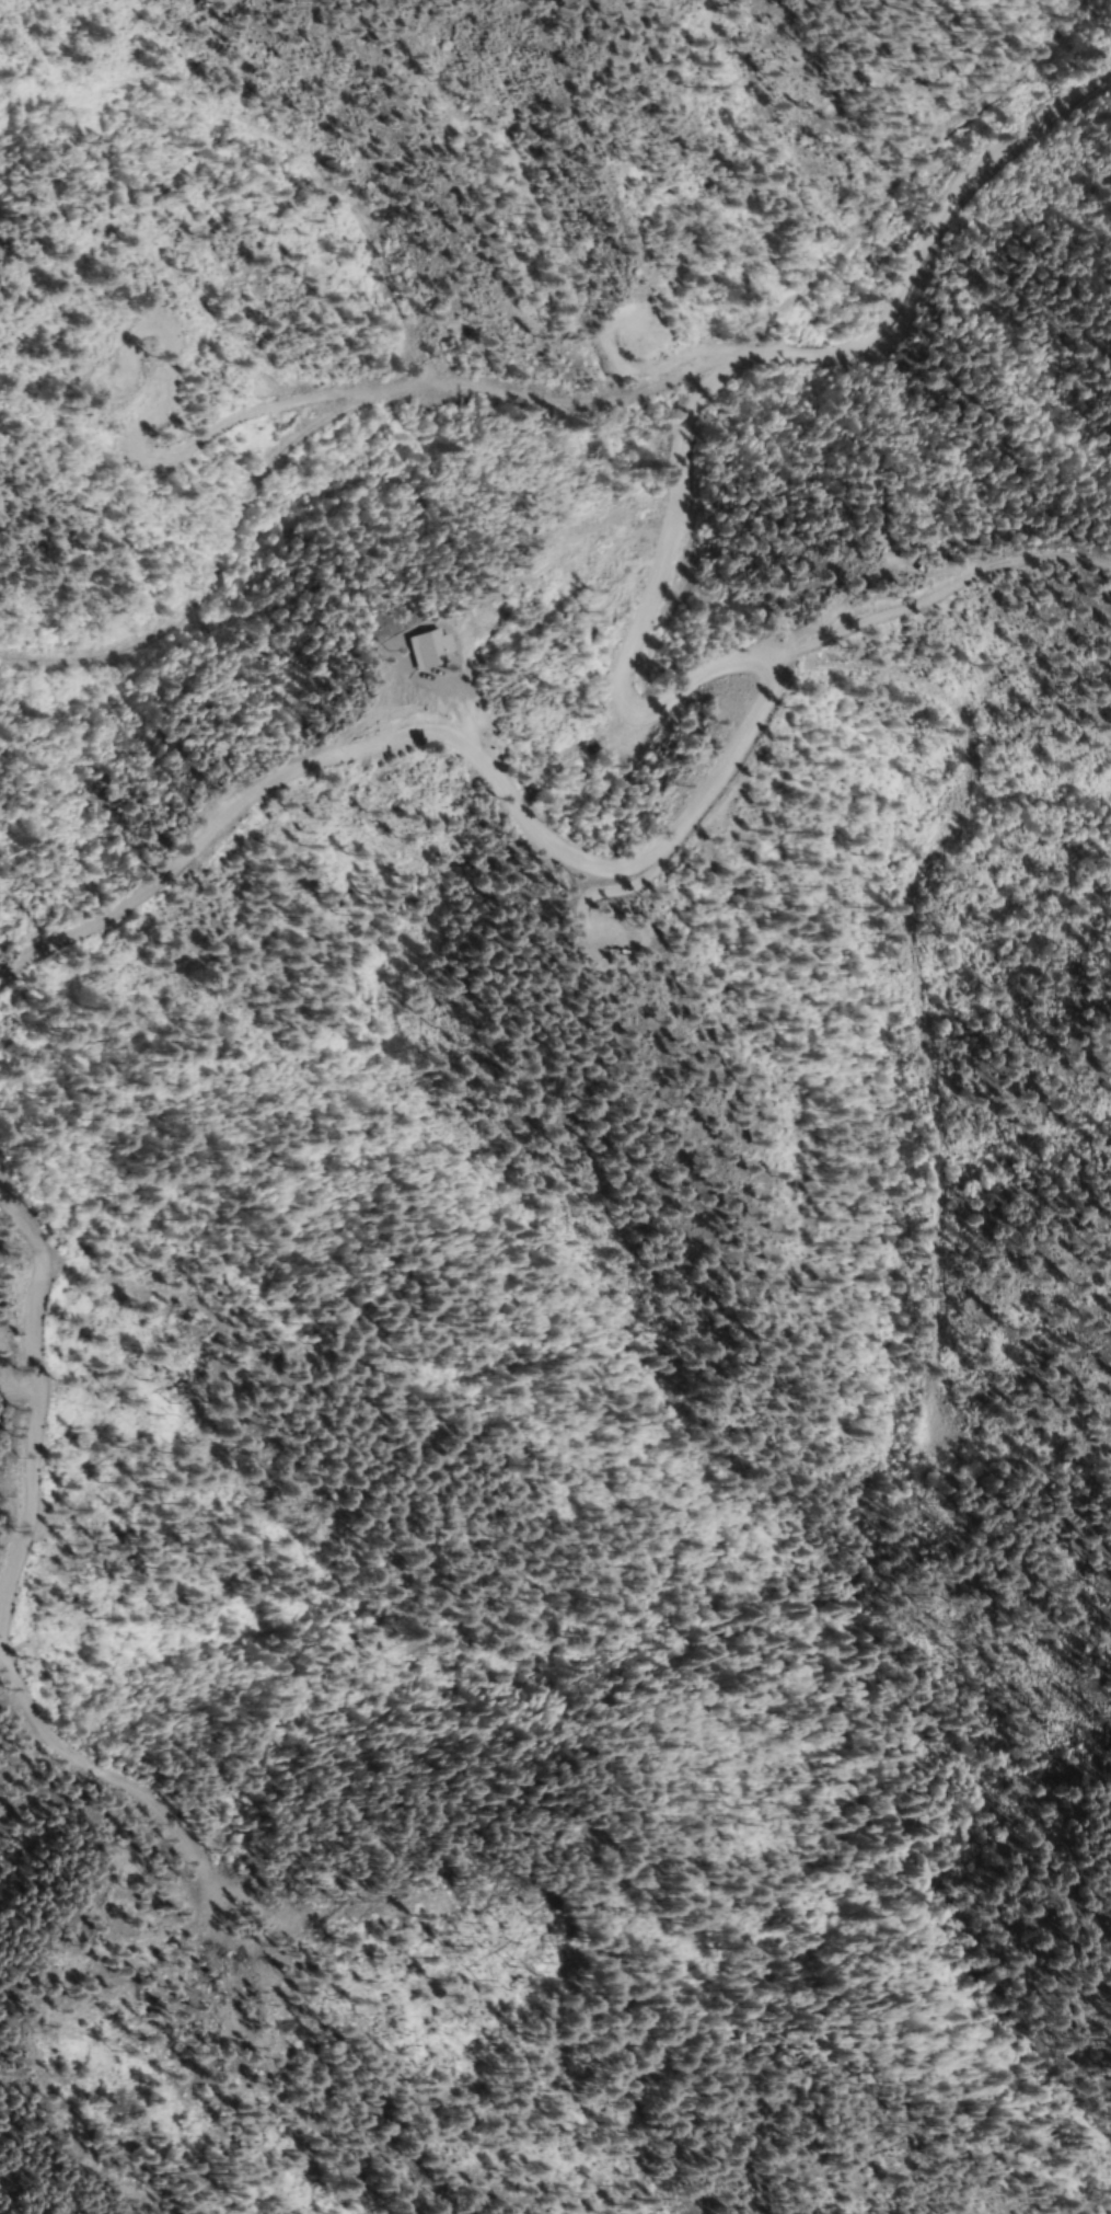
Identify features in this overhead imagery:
road: (703, 367)
road: (640, 857)
road: (28, 1403)
road: (95, 1767)

